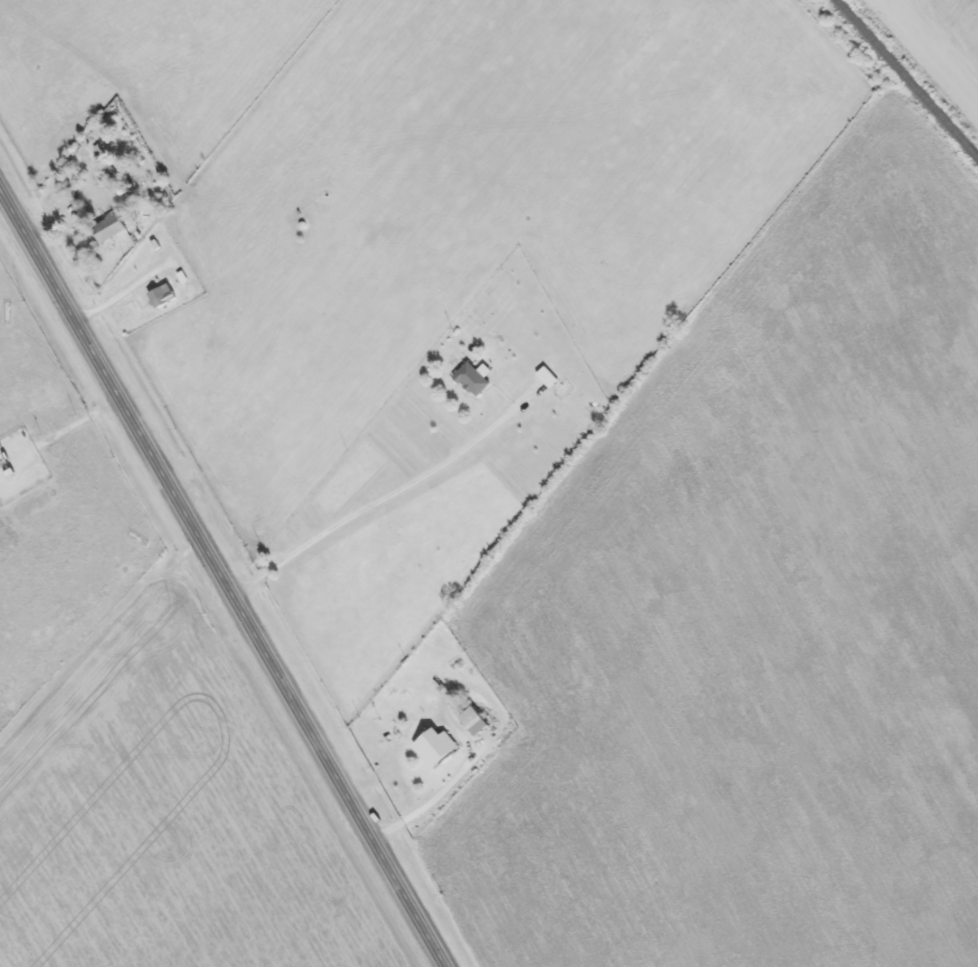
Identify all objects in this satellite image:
railway: (905, 80)
building: (107, 228)
building: (545, 377)
building: (470, 380)
road: (222, 579)
building: (471, 722)
building: (433, 748)

